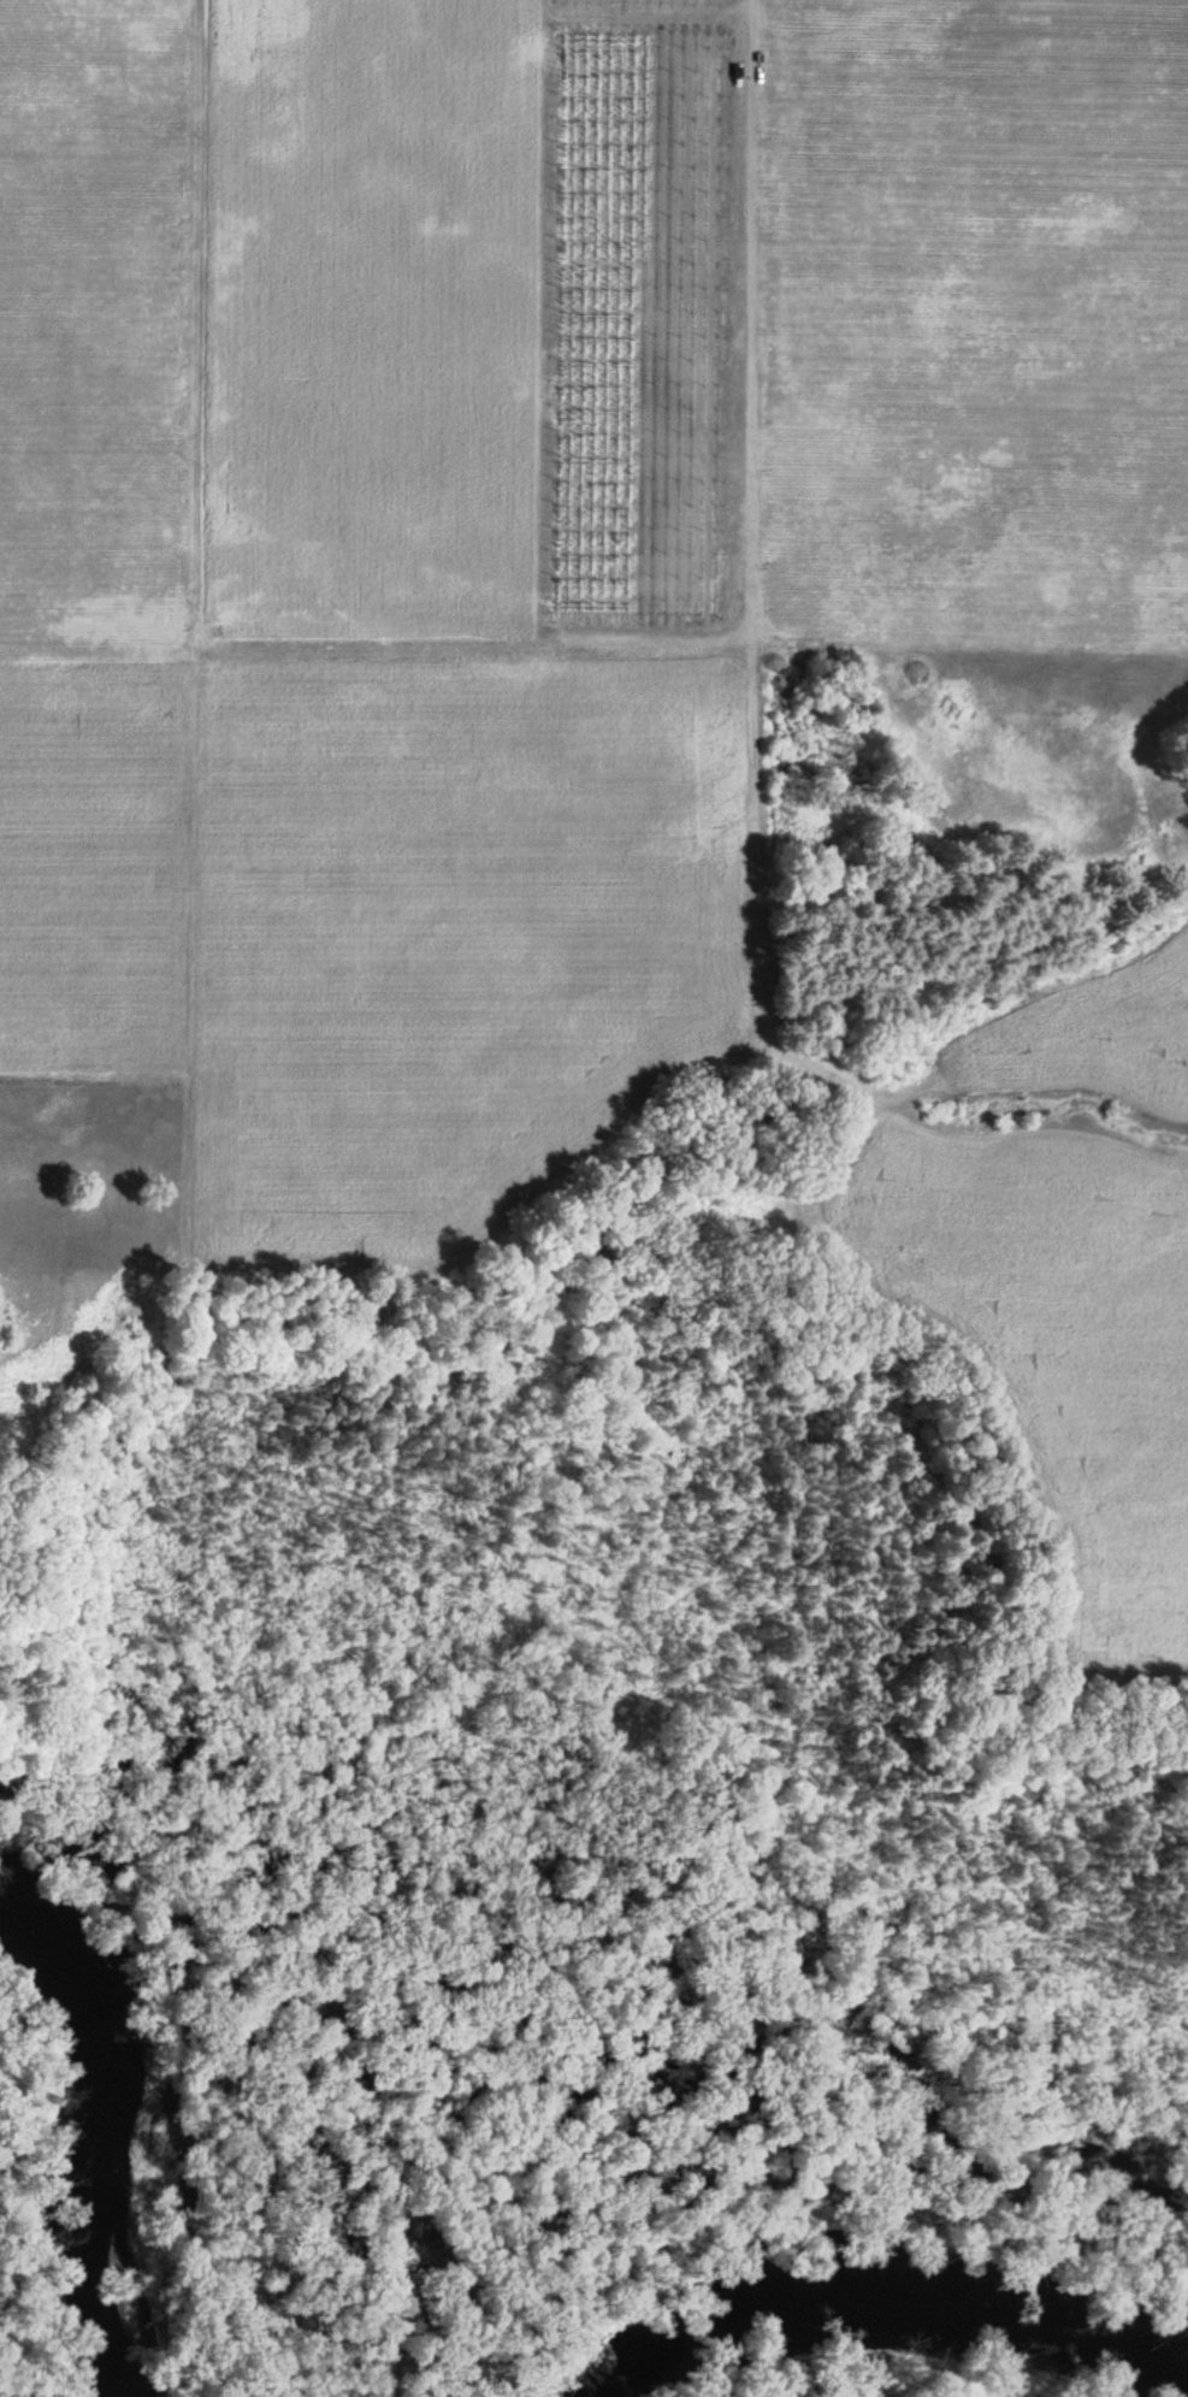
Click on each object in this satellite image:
river: (94, 2139)
river: (756, 2296)
river: (1070, 2343)

